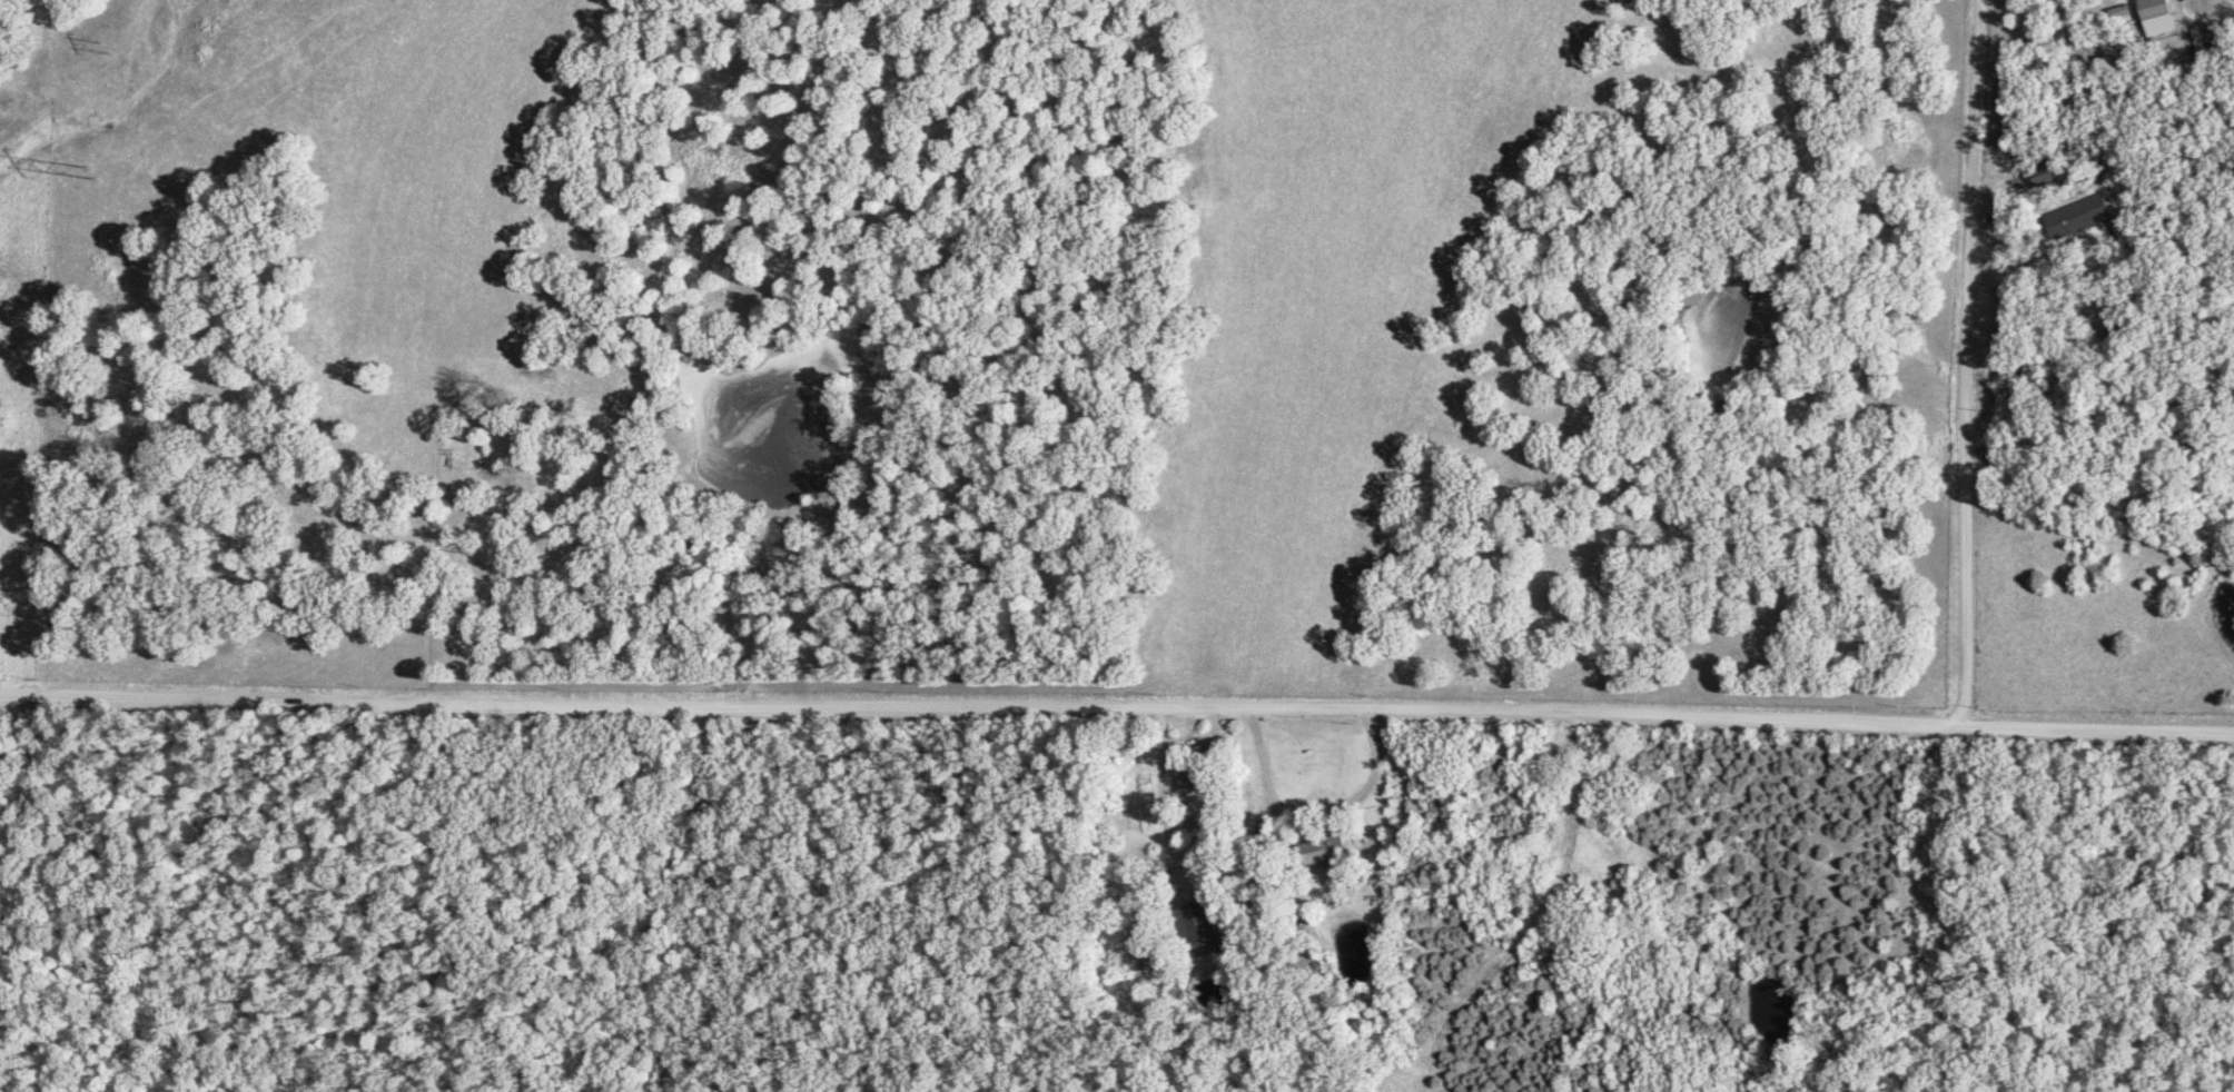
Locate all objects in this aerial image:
building: (2156, 17)
power tower: (100, 171)
building: (2078, 216)
road: (1966, 363)
road: (1117, 707)
road: (1163, 800)
road: (1313, 805)
building: (1318, 851)

